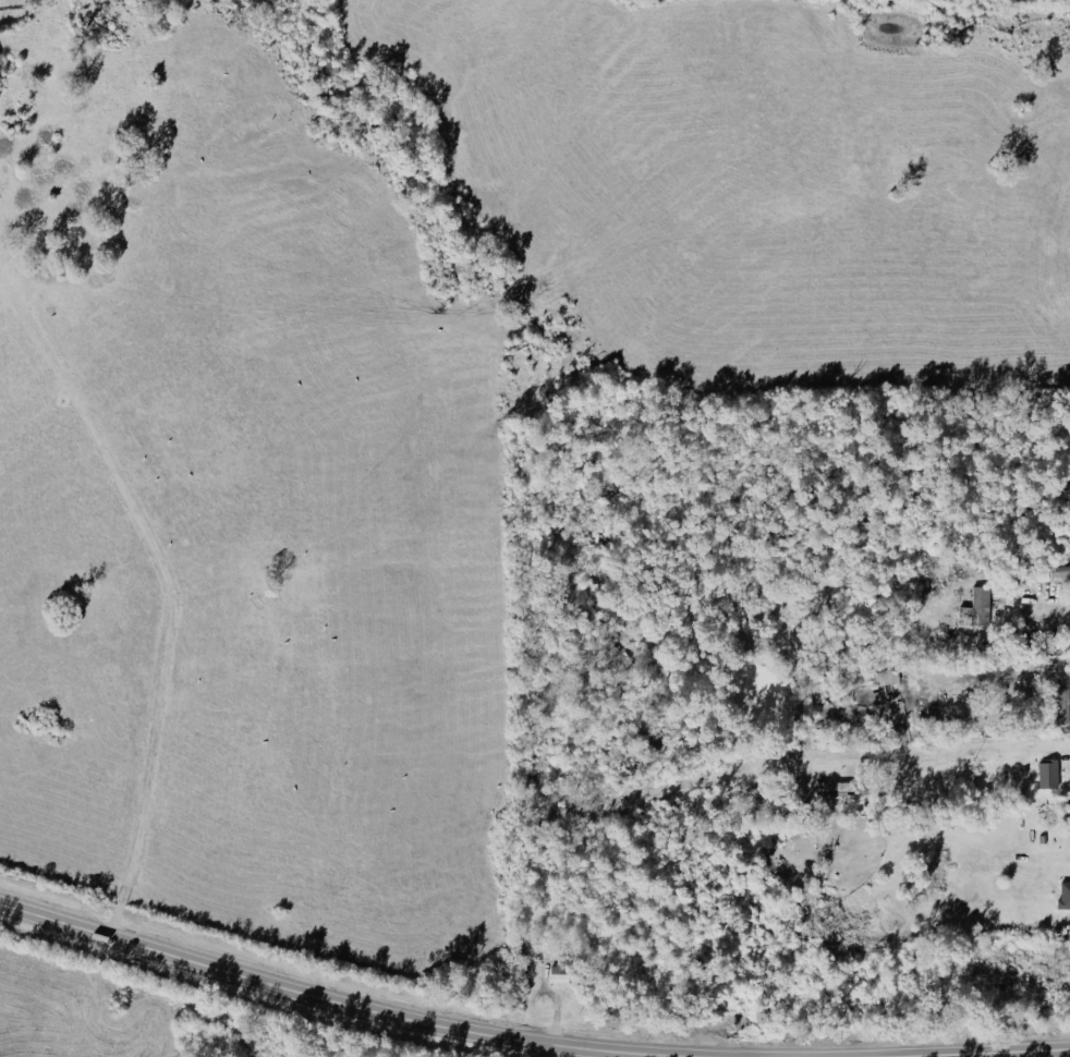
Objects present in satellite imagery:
building: (1060, 571)
road: (170, 590)
road: (1013, 603)
building: (976, 608)
road: (1061, 618)
building: (1060, 703)
road: (939, 754)
building: (1045, 772)
building: (835, 792)
building: (1039, 837)
building: (1065, 896)
building: (559, 977)
road: (354, 1006)
road: (545, 1050)
road: (988, 1053)

